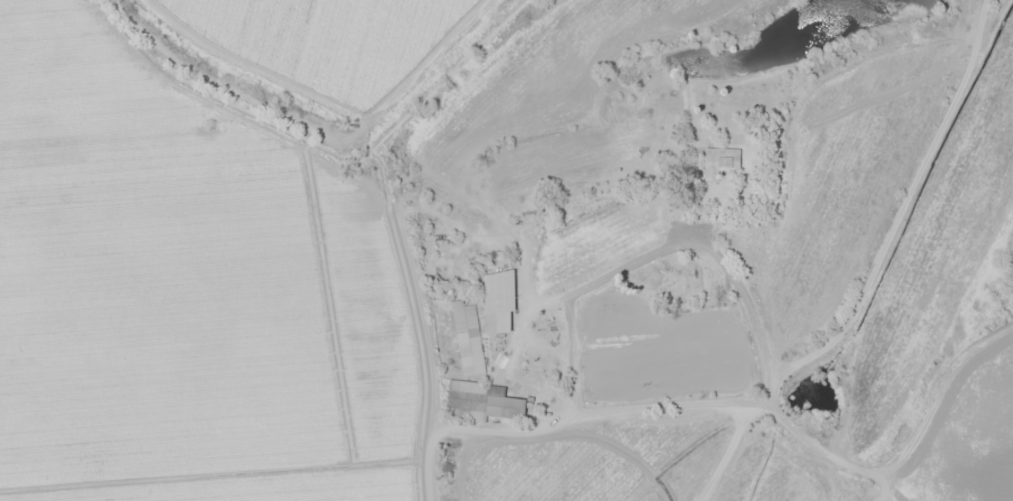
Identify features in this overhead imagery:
building: (728, 163)
building: (507, 303)
road: (752, 306)

